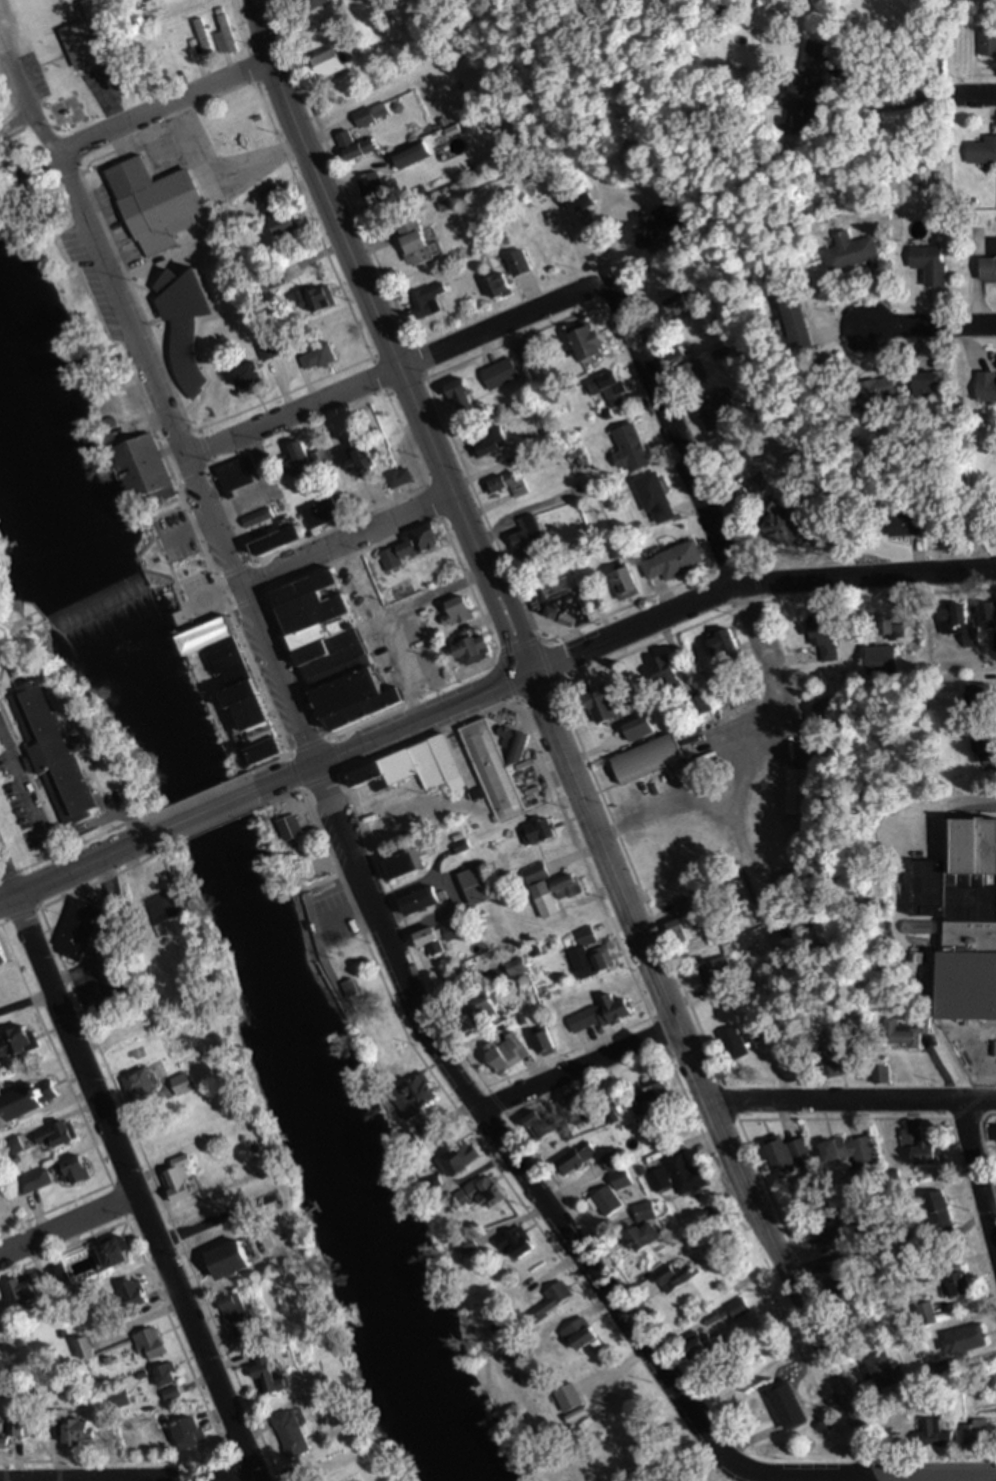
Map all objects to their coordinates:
building: (151, 4)
building: (313, 5)
building: (91, 8)
building: (335, 32)
building: (101, 33)
building: (224, 34)
building: (201, 42)
building: (987, 42)
building: (81, 44)
building: (178, 47)
building: (353, 51)
building: (817, 56)
building: (329, 63)
road: (856, 83)
road: (973, 93)
building: (806, 103)
park: (15, 106)
road: (161, 108)
building: (363, 117)
road: (18, 121)
building: (354, 146)
building: (982, 151)
building: (411, 154)
building: (28, 186)
building: (373, 191)
building: (272, 196)
building: (580, 199)
building: (159, 202)
building: (443, 205)
building: (280, 219)
building: (656, 226)
building: (416, 241)
road: (92, 244)
building: (853, 251)
building: (519, 264)
building: (932, 264)
building: (989, 269)
building: (271, 279)
building: (499, 285)
road: (131, 292)
building: (427, 297)
building: (311, 299)
building: (676, 312)
road: (927, 322)
building: (188, 323)
building: (800, 323)
building: (292, 333)
road: (385, 337)
road: (513, 339)
building: (586, 342)
building: (270, 348)
building: (526, 352)
building: (676, 352)
building: (320, 356)
building: (689, 373)
building: (499, 374)
road: (385, 376)
building: (251, 377)
building: (932, 383)
building: (987, 386)
building: (608, 389)
road: (283, 391)
building: (464, 394)
building: (881, 395)
building: (715, 414)
road: (393, 416)
road: (446, 430)
building: (488, 442)
building: (735, 447)
building: (632, 449)
building: (356, 455)
building: (525, 456)
building: (324, 458)
building: (302, 459)
road: (232, 460)
building: (149, 469)
road: (194, 475)
building: (240, 476)
building: (403, 477)
gas station: (403, 477)
building: (756, 483)
building: (507, 486)
road: (265, 490)
building: (656, 497)
road: (706, 501)
road: (225, 508)
building: (324, 514)
building: (258, 518)
building: (907, 524)
road: (339, 526)
building: (789, 527)
road: (192, 533)
building: (978, 536)
building: (528, 537)
parking lot: (181, 539)
building: (280, 539)
road: (345, 540)
building: (414, 553)
road: (352, 554)
building: (673, 560)
building: (392, 561)
road: (216, 573)
road: (260, 577)
building: (626, 581)
road: (753, 585)
building: (305, 589)
road: (214, 595)
parking lot: (208, 597)
road: (432, 599)
road: (767, 600)
dam: (104, 605)
building: (460, 611)
building: (552, 612)
road: (250, 613)
building: (448, 613)
building: (989, 614)
building: (312, 615)
building: (950, 617)
road: (550, 623)
building: (892, 627)
road: (379, 631)
building: (824, 635)
building: (211, 636)
building: (325, 636)
building: (969, 636)
building: (994, 642)
building: (725, 644)
building: (469, 646)
road: (516, 646)
building: (331, 651)
building: (232, 657)
building: (878, 659)
road: (547, 662)
building: (337, 663)
road: (297, 665)
building: (669, 671)
building: (341, 675)
building: (243, 678)
road: (504, 679)
road: (535, 693)
building: (245, 694)
building: (350, 695)
building: (982, 697)
building: (601, 703)
building: (254, 708)
building: (825, 709)
building: (363, 712)
road: (422, 718)
building: (638, 728)
building: (259, 730)
building: (513, 743)
building: (985, 747)
building: (265, 752)
building: (59, 758)
building: (653, 758)
building: (441, 762)
building: (493, 768)
building: (389, 770)
road: (690, 774)
road: (283, 779)
road: (31, 781)
parking lot: (16, 786)
road: (303, 789)
building: (800, 791)
road: (31, 803)
road: (947, 805)
road: (200, 815)
road: (144, 818)
road: (404, 827)
building: (296, 828)
building: (538, 832)
building: (463, 846)
road: (377, 855)
road: (151, 856)
building: (408, 863)
road: (75, 868)
building: (536, 873)
road: (5, 883)
road: (638, 883)
road: (324, 885)
building: (478, 885)
building: (569, 886)
building: (420, 899)
building: (545, 900)
river: (232, 901)
building: (164, 905)
road: (113, 911)
building: (961, 918)
building: (689, 923)
road: (611, 928)
building: (81, 929)
building: (497, 933)
building: (438, 937)
building: (585, 937)
building: (716, 937)
building: (4, 954)
building: (591, 961)
park: (357, 965)
building: (517, 968)
building: (716, 971)
road: (74, 976)
parking lot: (99, 987)
road: (105, 1005)
building: (485, 1008)
building: (603, 1014)
building: (756, 1029)
building: (911, 1031)
building: (548, 1039)
building: (20, 1042)
building: (737, 1042)
road: (578, 1047)
parking lot: (974, 1048)
building: (509, 1050)
road: (980, 1057)
building: (838, 1063)
road: (426, 1066)
road: (578, 1066)
building: (881, 1073)
road: (702, 1078)
building: (143, 1083)
building: (183, 1084)
building: (652, 1094)
building: (417, 1095)
building: (25, 1100)
road: (962, 1100)
road: (730, 1101)
road: (855, 1101)
building: (580, 1106)
building: (612, 1114)
road: (843, 1119)
building: (543, 1124)
building: (570, 1131)
building: (58, 1135)
building: (414, 1138)
road: (982, 1142)
building: (14, 1143)
building: (922, 1148)
building: (851, 1152)
building: (580, 1156)
building: (790, 1156)
building: (461, 1157)
building: (182, 1160)
building: (613, 1161)
road: (979, 1166)
building: (77, 1169)
building: (680, 1174)
building: (622, 1179)
building: (37, 1180)
building: (435, 1180)
building: (181, 1184)
road: (135, 1188)
building: (489, 1190)
road: (158, 1194)
road: (541, 1195)
building: (465, 1197)
building: (610, 1200)
road: (118, 1203)
road: (55, 1206)
building: (646, 1211)
road: (970, 1211)
building: (943, 1217)
road: (218, 1219)
road: (69, 1225)
building: (843, 1231)
building: (649, 1237)
building: (518, 1242)
road: (73, 1243)
building: (472, 1243)
road: (600, 1245)
building: (114, 1252)
building: (230, 1261)
building: (58, 1275)
building: (675, 1278)
building: (845, 1279)
building: (961, 1280)
building: (23, 1292)
building: (135, 1294)
road: (813, 1299)
building: (554, 1300)
building: (234, 1308)
building: (728, 1311)
building: (932, 1313)
building: (245, 1330)
building: (581, 1334)
building: (969, 1339)
building: (151, 1343)
building: (701, 1345)
building: (87, 1346)
building: (514, 1354)
building: (946, 1366)
building: (885, 1372)
building: (165, 1375)
building: (269, 1376)
building: (33, 1388)
building: (171, 1392)
building: (573, 1397)
building: (121, 1400)
building: (789, 1404)
building: (826, 1425)
building: (16, 1427)
building: (72, 1428)
building: (979, 1430)
building: (190, 1431)
building: (293, 1433)
building: (936, 1434)
building: (5, 1443)
road: (113, 1458)
road: (942, 1476)
road: (127, 1477)

